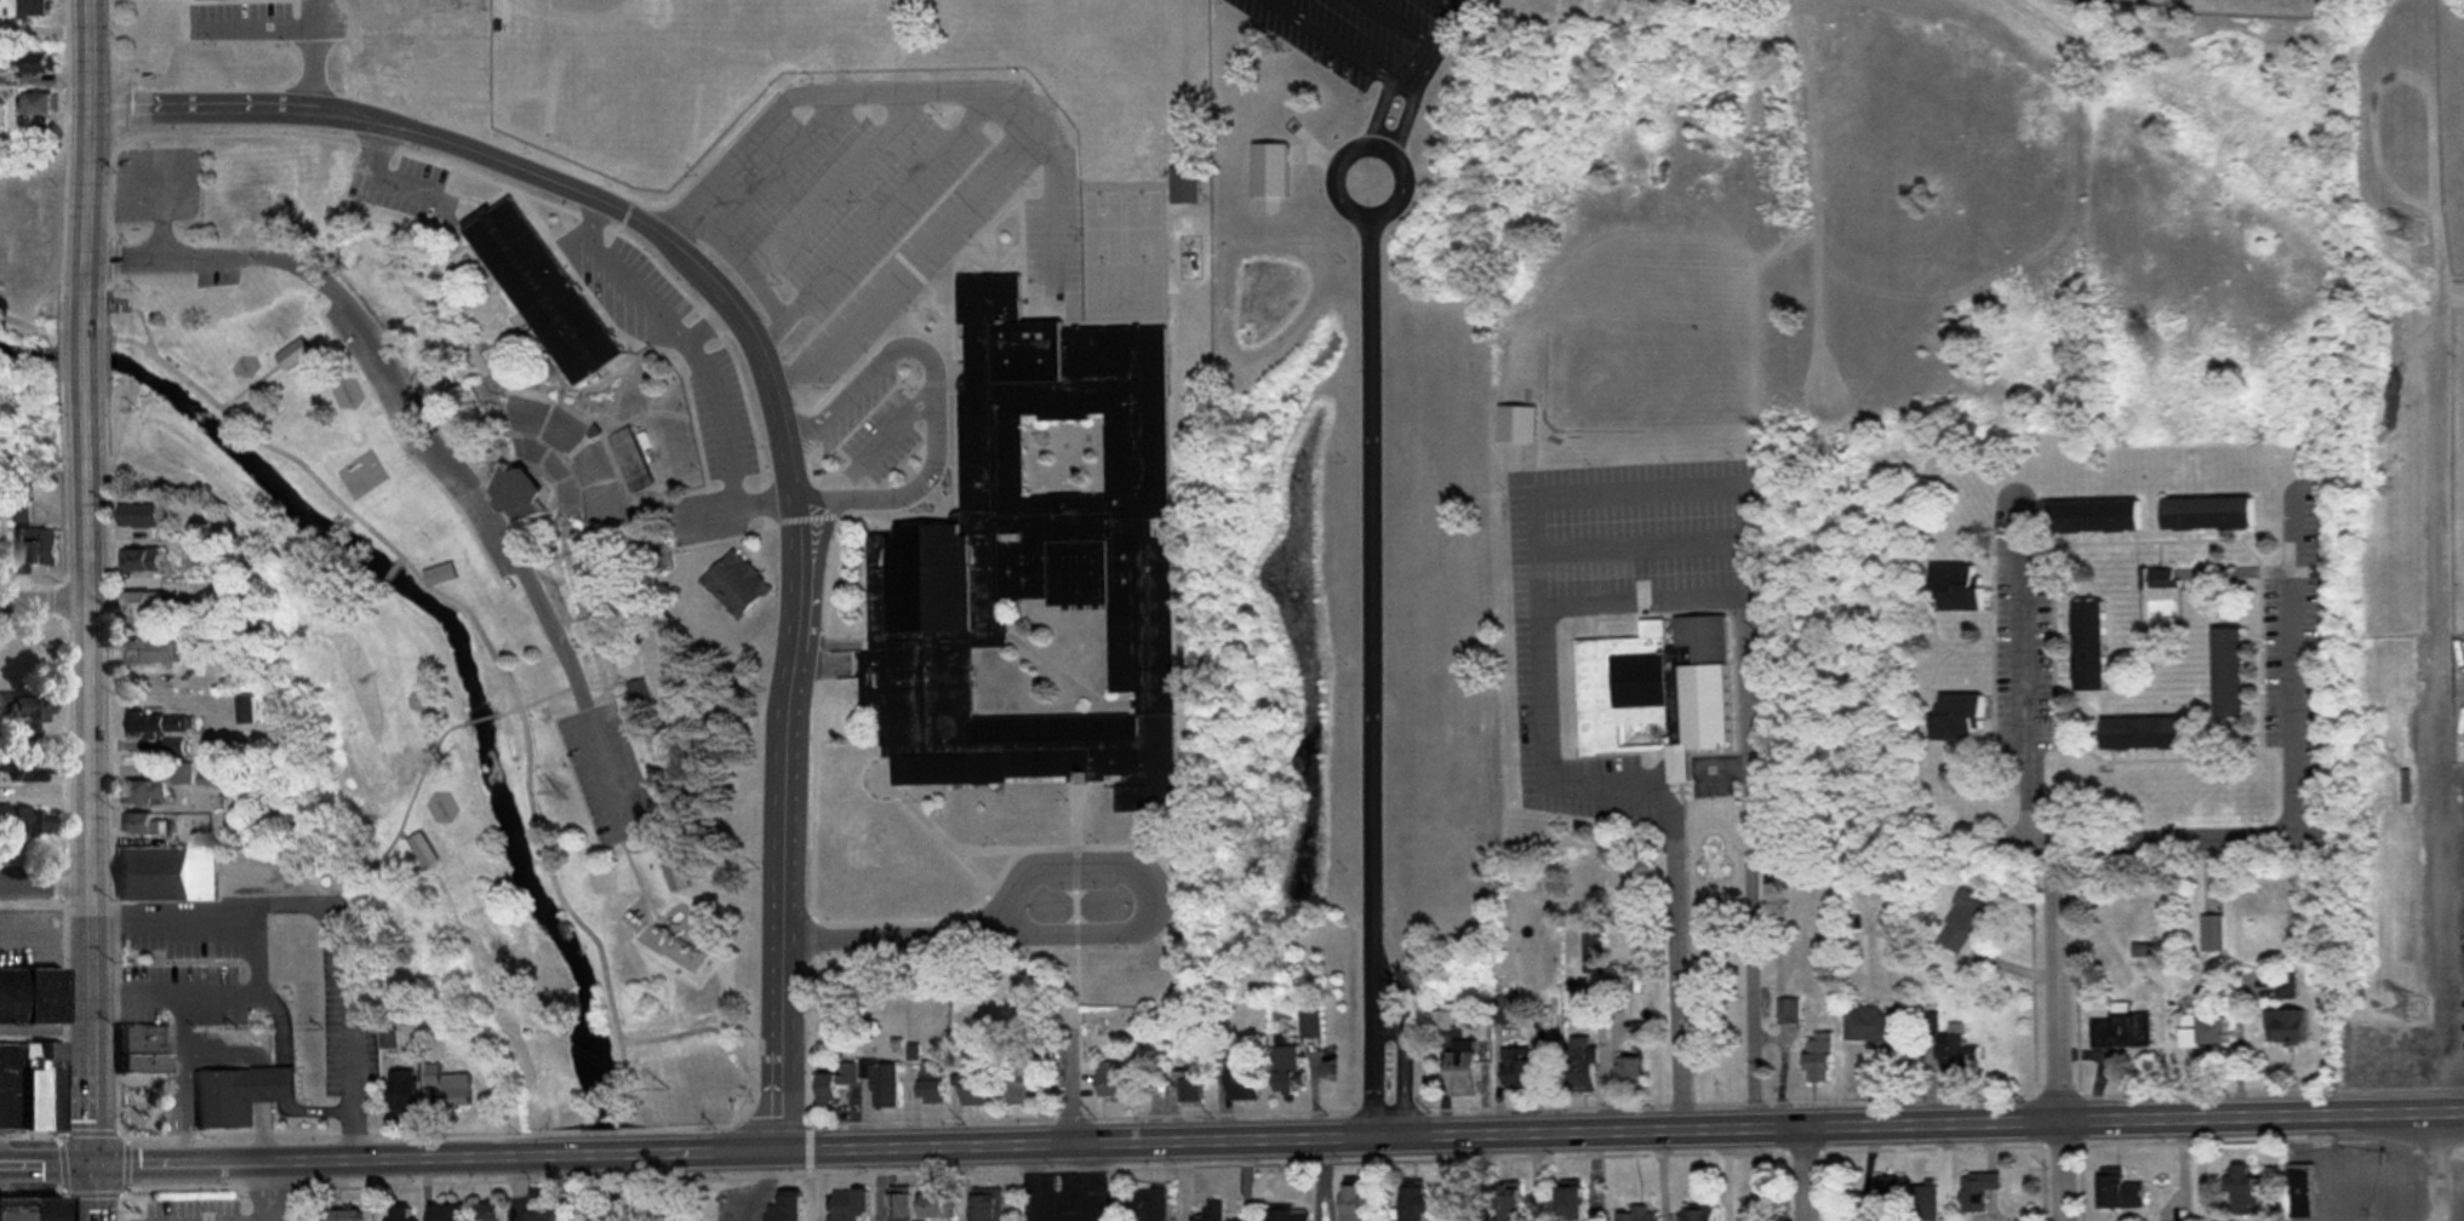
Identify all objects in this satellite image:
road: (1463, 0)
building: (1231, 1)
park: (2151, 1)
building: (33, 8)
road: (1450, 19)
road: (1403, 21)
road: (253, 23)
road: (1334, 38)
building: (399, 39)
road: (313, 51)
building: (35, 63)
road: (1390, 81)
road: (824, 91)
road: (1413, 94)
building: (38, 103)
road: (376, 143)
road: (92, 159)
road: (779, 159)
road: (831, 178)
road: (407, 179)
building: (1183, 184)
road: (1053, 196)
road: (1347, 200)
road: (876, 214)
road: (160, 220)
power tower: (2417, 231)
park: (29, 236)
road: (737, 254)
road: (898, 256)
road: (640, 290)
building: (541, 293)
building: (295, 354)
road: (92, 356)
road: (767, 374)
road: (719, 413)
road: (933, 420)
road: (893, 423)
building: (1516, 423)
road: (425, 443)
building: (562, 460)
road: (1640, 487)
road: (813, 491)
road: (2436, 492)
road: (732, 503)
building: (2208, 514)
building: (142, 516)
building: (2096, 517)
building: (0, 533)
road: (1640, 540)
building: (41, 548)
building: (144, 560)
park: (486, 562)
building: (1035, 569)
building: (440, 574)
building: (736, 584)
building: (1959, 586)
road: (46, 602)
building: (143, 603)
road: (455, 606)
road: (1370, 612)
building: (2089, 647)
building: (152, 652)
road: (1542, 658)
building: (2230, 673)
road: (1744, 676)
road: (2026, 678)
building: (1656, 689)
building: (22, 710)
building: (246, 710)
building: (1960, 718)
building: (160, 723)
building: (2148, 733)
building: (172, 746)
building: (1, 764)
building: (27, 767)
building: (181, 773)
road: (2294, 773)
road: (93, 778)
building: (143, 792)
building: (22, 820)
building: (145, 824)
building: (421, 849)
building: (167, 873)
building: (674, 873)
road: (46, 878)
road: (1144, 884)
road: (8, 908)
road: (327, 919)
building: (1962, 923)
road: (884, 931)
building: (2212, 933)
road: (47, 939)
road: (1753, 944)
building: (1593, 947)
road: (1677, 969)
building: (1619, 981)
road: (217, 992)
building: (29, 996)
building: (1788, 1013)
power tower: (2417, 1013)
road: (279, 1017)
road: (181, 1022)
building: (1310, 1025)
building: (1927, 1025)
road: (2060, 1026)
building: (2286, 1026)
road: (47, 1030)
road: (714, 1030)
building: (1876, 1030)
building: (2122, 1031)
building: (2213, 1032)
building: (142, 1050)
road: (2378, 1050)
building: (1956, 1053)
road: (222, 1054)
building: (1819, 1059)
road: (2454, 1064)
building: (1583, 1065)
building: (1521, 1068)
building: (1286, 1070)
road: (1401, 1070)
road: (1374, 1071)
building: (1462, 1072)
building: (1629, 1072)
building: (1242, 1078)
building: (1110, 1082)
building: (8, 1083)
road: (281, 1083)
building: (834, 1083)
building: (930, 1083)
building: (29, 1084)
building: (50, 1084)
road: (261, 1084)
building: (881, 1087)
building: (971, 1089)
road: (1068, 1090)
building: (455, 1091)
building: (1189, 1091)
building: (238, 1093)
building: (404, 1094)
building: (1018, 1094)
road: (183, 1106)
park: (142, 1107)
road: (314, 1110)
road: (2402, 1112)
road: (263, 1131)
road: (1491, 1131)
road: (588, 1148)
road: (316, 1156)
road: (50, 1162)
traffic signals: (99, 1162)
road: (2437, 1166)
road: (1808, 1174)
road: (1040, 1181)
road: (1090, 1181)
road: (268, 1188)
road: (98, 1191)
building: (1977, 1191)
building: (2243, 1191)
building: (2302, 1192)
building: (2120, 1193)
building: (1887, 1194)
building: (1354, 1203)
building: (1508, 1203)
building: (1571, 1203)
building: (1925, 1203)
road: (646, 1204)
building: (1413, 1204)
building: (847, 1205)
building: (1151, 1205)
building: (936, 1206)
building: (12, 1208)
building: (44, 1208)
building: (897, 1208)
building: (985, 1208)
building: (788, 1209)
building: (1210, 1211)
building: (488, 1213)
building: (400, 1214)
building: (446, 1214)
building: (348, 1215)
building: (1636, 1215)
building: (1699, 1215)
building: (541, 1216)
building: (1287, 1216)
building: (1750, 1216)

